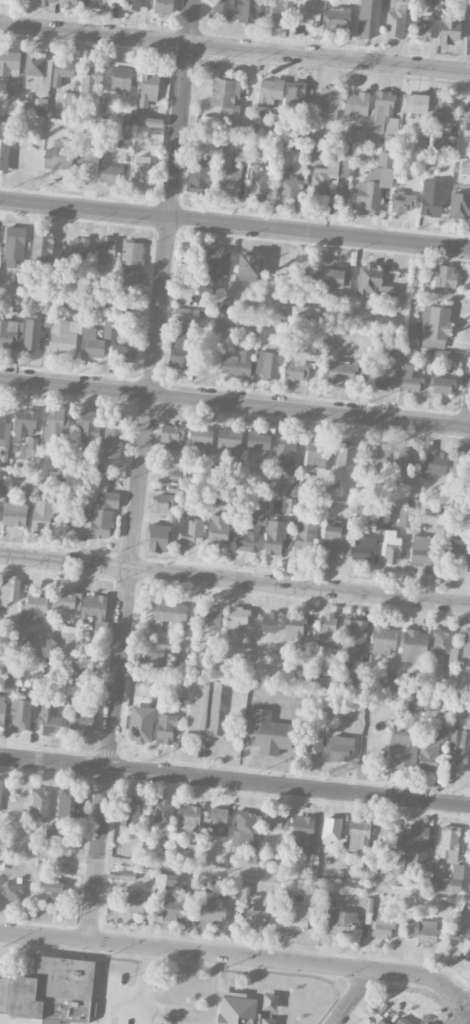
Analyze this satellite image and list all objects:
building: (47, 2)
building: (72, 2)
building: (103, 3)
building: (436, 4)
building: (131, 5)
building: (163, 6)
building: (222, 9)
building: (248, 11)
building: (279, 11)
building: (307, 12)
building: (369, 18)
building: (337, 19)
building: (397, 20)
building: (450, 27)
building: (421, 29)
road: (234, 47)
building: (9, 63)
building: (62, 70)
building: (37, 72)
building: (91, 77)
building: (120, 79)
building: (148, 87)
building: (270, 92)
building: (295, 93)
building: (12, 94)
building: (69, 99)
building: (328, 102)
building: (415, 103)
building: (356, 105)
building: (381, 109)
building: (441, 112)
building: (466, 115)
building: (150, 121)
building: (390, 129)
building: (353, 136)
building: (124, 141)
building: (445, 142)
building: (207, 146)
building: (418, 146)
building: (4, 154)
building: (63, 158)
building: (240, 158)
building: (465, 167)
building: (142, 172)
building: (110, 174)
building: (330, 175)
building: (229, 177)
building: (200, 179)
building: (259, 183)
building: (375, 183)
building: (290, 190)
building: (432, 198)
building: (403, 202)
building: (460, 206)
road: (234, 226)
building: (13, 245)
building: (42, 248)
building: (106, 248)
building: (75, 250)
building: (0, 252)
building: (131, 262)
building: (248, 267)
building: (214, 270)
building: (318, 272)
building: (445, 277)
building: (19, 280)
building: (338, 282)
building: (374, 284)
building: (416, 285)
building: (16, 301)
building: (78, 311)
building: (304, 312)
building: (186, 314)
building: (226, 321)
building: (431, 328)
building: (9, 332)
building: (32, 332)
building: (64, 336)
building: (91, 344)
building: (124, 353)
building: (179, 356)
building: (238, 364)
building: (268, 365)
building: (295, 370)
building: (342, 372)
building: (383, 377)
building: (410, 379)
building: (443, 385)
road: (235, 402)
building: (25, 422)
building: (57, 424)
building: (89, 427)
building: (172, 436)
building: (4, 437)
building: (113, 437)
building: (200, 439)
building: (229, 439)
building: (258, 440)
building: (29, 450)
building: (315, 453)
building: (345, 454)
building: (285, 457)
building: (377, 459)
building: (433, 463)
building: (460, 464)
building: (401, 468)
building: (267, 469)
road: (142, 471)
building: (411, 490)
building: (164, 501)
building: (14, 514)
building: (43, 515)
building: (100, 516)
building: (405, 518)
building: (191, 525)
building: (219, 529)
building: (251, 532)
building: (276, 537)
building: (158, 538)
building: (305, 538)
building: (335, 541)
building: (391, 545)
building: (362, 547)
building: (420, 550)
building: (454, 551)
road: (235, 578)
building: (9, 588)
building: (66, 600)
building: (34, 608)
building: (92, 608)
building: (168, 612)
building: (209, 615)
building: (237, 617)
building: (269, 622)
building: (294, 626)
building: (326, 632)
building: (353, 636)
building: (383, 640)
building: (67, 643)
building: (443, 643)
building: (466, 645)
building: (414, 646)
building: (24, 649)
building: (151, 660)
building: (302, 662)
building: (89, 670)
building: (358, 672)
building: (387, 682)
building: (469, 691)
building: (204, 707)
building: (2, 709)
building: (433, 709)
building: (413, 712)
building: (20, 714)
building: (49, 718)
building: (81, 721)
building: (141, 724)
building: (165, 728)
building: (269, 733)
building: (313, 746)
building: (459, 747)
building: (341, 748)
building: (402, 750)
building: (432, 750)
road: (235, 780)
building: (0, 789)
building: (68, 802)
building: (39, 804)
building: (162, 812)
building: (130, 815)
building: (187, 818)
building: (218, 820)
building: (276, 821)
building: (243, 829)
building: (303, 833)
building: (359, 835)
building: (389, 839)
building: (449, 844)
building: (417, 845)
building: (367, 862)
building: (367, 873)
building: (453, 880)
building: (160, 881)
building: (12, 890)
building: (54, 892)
building: (329, 899)
building: (138, 903)
building: (172, 907)
building: (212, 909)
building: (256, 916)
building: (299, 918)
building: (337, 921)
building: (383, 926)
building: (422, 930)
building: (457, 946)
road: (238, 956)
building: (51, 990)
road: (354, 996)
building: (236, 1008)
building: (402, 1021)
road: (468, 1021)
building: (379, 1022)

